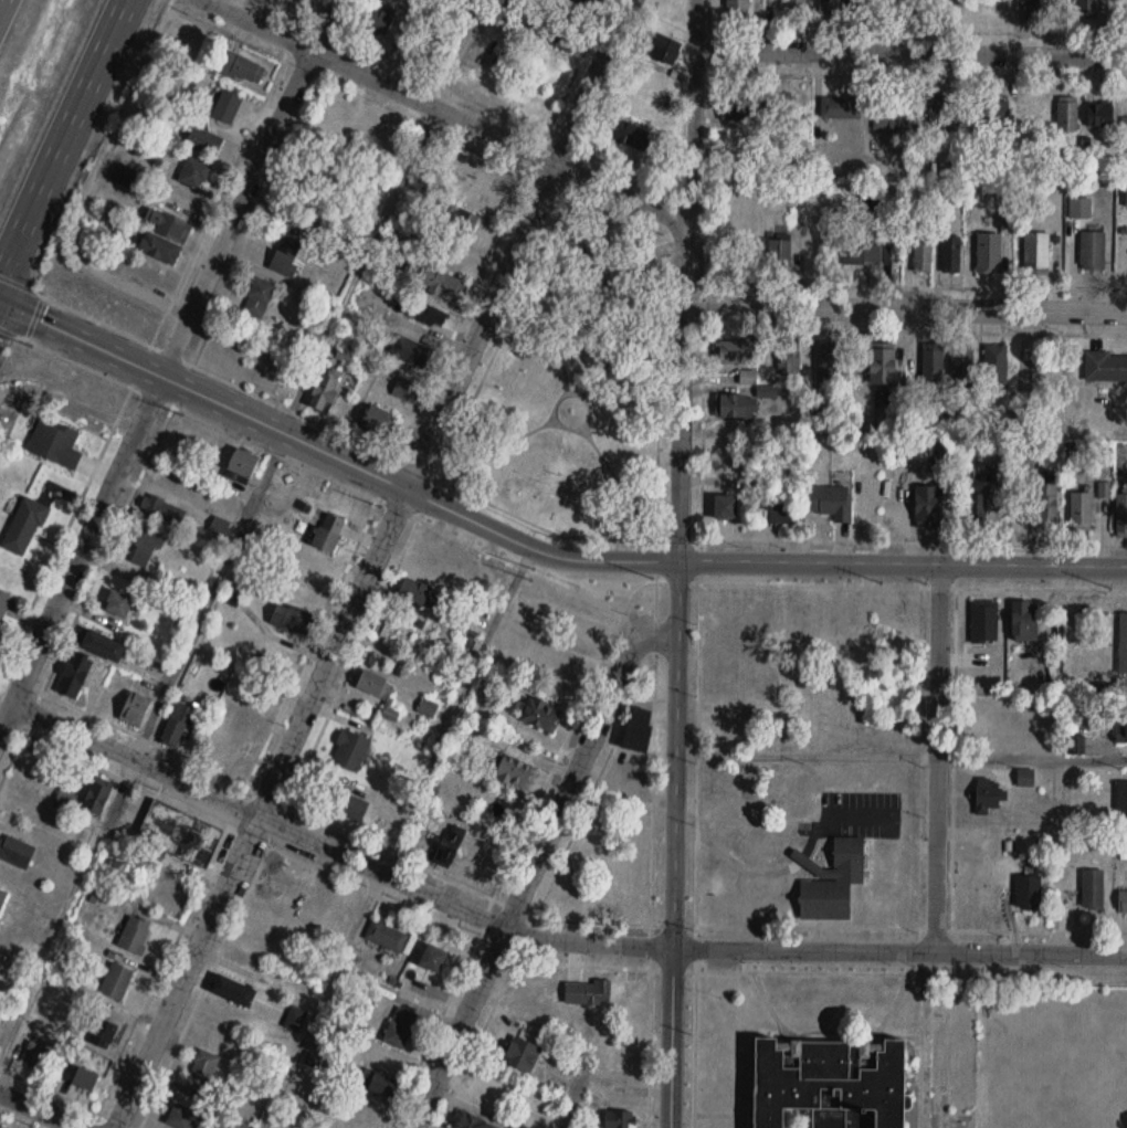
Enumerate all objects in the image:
road: (0, 1)
building: (467, 1)
building: (586, 2)
building: (796, 4)
building: (737, 6)
building: (829, 6)
building: (1086, 9)
building: (1030, 12)
building: (377, 20)
road: (894, 28)
building: (556, 36)
building: (431, 48)
building: (664, 49)
road: (913, 51)
road: (576, 66)
building: (242, 68)
road: (789, 72)
road: (621, 75)
road: (443, 85)
building: (227, 106)
building: (742, 107)
building: (841, 107)
road: (445, 109)
building: (928, 110)
building: (797, 113)
building: (1067, 115)
building: (1099, 115)
building: (993, 116)
building: (892, 118)
building: (626, 134)
road: (63, 137)
building: (204, 140)
building: (740, 144)
road: (486, 154)
building: (194, 173)
road: (635, 175)
building: (460, 221)
road: (605, 224)
building: (162, 236)
road: (663, 245)
building: (1036, 251)
building: (1093, 251)
building: (778, 252)
building: (868, 253)
building: (923, 253)
building: (988, 253)
building: (951, 254)
building: (286, 255)
road: (610, 264)
road: (683, 278)
building: (440, 284)
road: (915, 285)
road: (471, 295)
building: (259, 297)
road: (904, 307)
building: (428, 315)
road: (555, 319)
road: (159, 324)
road: (915, 329)
road: (623, 341)
building: (410, 351)
building: (734, 352)
building: (789, 358)
building: (829, 363)
building: (996, 365)
road: (165, 366)
building: (933, 366)
building: (961, 366)
building: (882, 367)
building: (1106, 367)
building: (748, 377)
park: (577, 386)
building: (402, 390)
building: (323, 392)
building: (731, 405)
building: (376, 420)
road: (547, 422)
road: (278, 429)
road: (702, 432)
building: (54, 444)
road: (335, 453)
building: (242, 463)
building: (982, 477)
road: (619, 482)
building: (1046, 499)
building: (831, 502)
building: (927, 505)
building: (725, 507)
building: (162, 508)
building: (775, 510)
building: (1082, 510)
building: (1121, 514)
building: (24, 526)
building: (327, 533)
road: (584, 533)
building: (148, 545)
road: (701, 560)
road: (903, 562)
road: (371, 563)
road: (677, 582)
building: (420, 593)
building: (2, 602)
building: (117, 604)
building: (733, 613)
building: (291, 619)
building: (1023, 620)
building: (984, 621)
building: (101, 645)
building: (568, 673)
building: (73, 674)
building: (375, 685)
building: (110, 694)
building: (136, 702)
building: (428, 707)
road: (456, 708)
building: (391, 713)
building: (541, 714)
building: (180, 723)
building: (636, 728)
building: (1121, 730)
road: (567, 732)
building: (230, 750)
building: (350, 750)
road: (936, 756)
road: (1032, 756)
building: (514, 772)
building: (989, 795)
building: (65, 799)
building: (96, 799)
building: (1121, 799)
building: (346, 803)
building: (180, 833)
road: (677, 843)
building: (447, 846)
building: (15, 851)
road: (531, 864)
building: (832, 879)
building: (1093, 889)
building: (1028, 890)
building: (2, 897)
building: (1123, 902)
road: (526, 913)
building: (135, 934)
building: (387, 936)
road: (545, 938)
road: (651, 946)
building: (431, 958)
road: (569, 962)
building: (116, 981)
building: (232, 991)
building: (587, 993)
road: (324, 1001)
building: (295, 1019)
building: (400, 1026)
building: (104, 1034)
building: (520, 1055)
building: (39, 1056)
building: (202, 1071)
building: (84, 1079)
building: (378, 1083)
building: (826, 1084)
road: (66, 1097)
road: (39, 1109)
building: (537, 1111)
building: (183, 1117)
building: (619, 1119)
building: (470, 1121)

